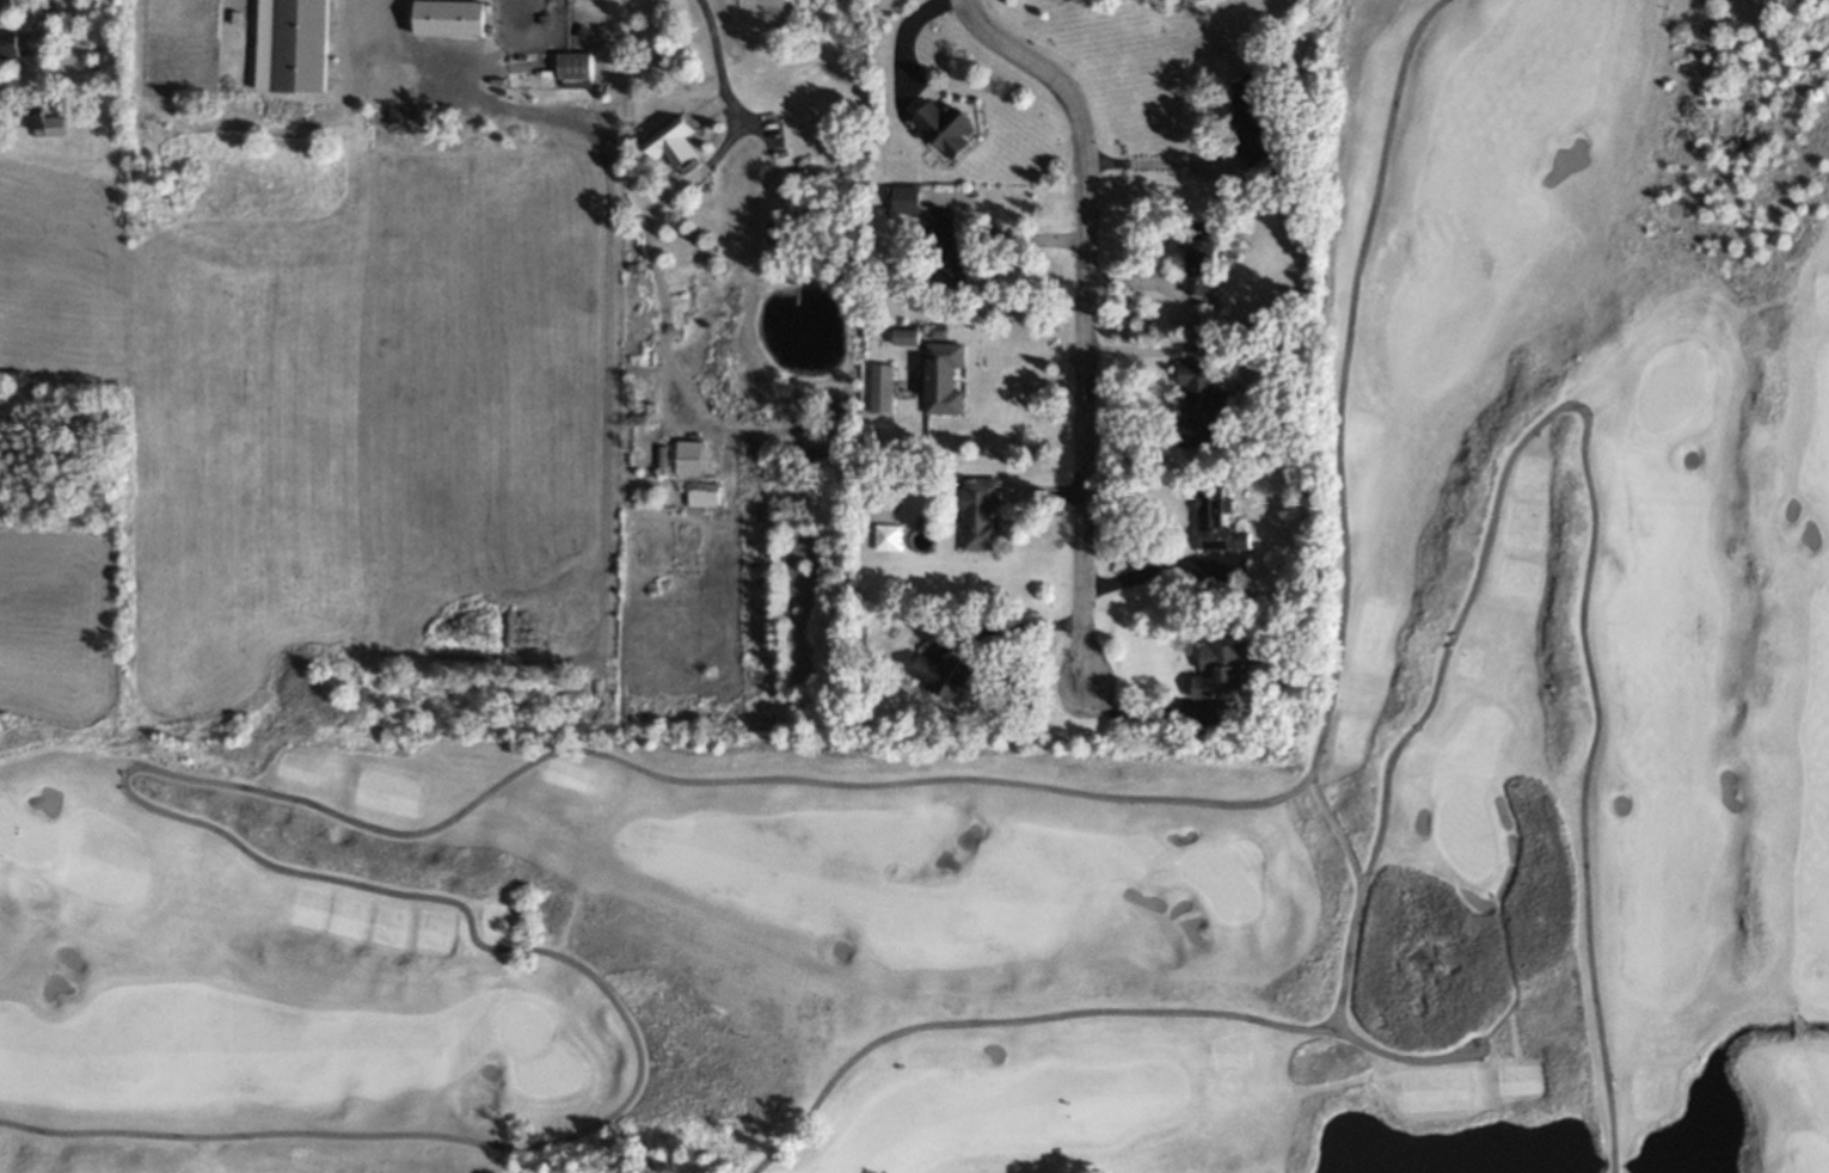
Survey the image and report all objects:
road: (380, 11)
building: (450, 18)
road: (713, 43)
building: (7, 45)
building: (301, 47)
building: (576, 66)
building: (1253, 117)
building: (45, 123)
building: (943, 124)
building: (671, 141)
road: (1156, 161)
building: (906, 197)
road: (1014, 240)
building: (949, 251)
building: (1202, 258)
road: (1090, 317)
building: (907, 336)
building: (944, 377)
road: (1343, 380)
building: (882, 387)
building: (1201, 401)
crop: (303, 430)
building: (824, 446)
building: (689, 457)
building: (702, 498)
building: (980, 514)
building: (1216, 515)
road: (1595, 515)
road: (1148, 572)
road: (1008, 625)
building: (1223, 668)
building: (947, 675)
road: (1135, 718)
park: (1111, 760)
road: (502, 776)
road: (1424, 1056)

